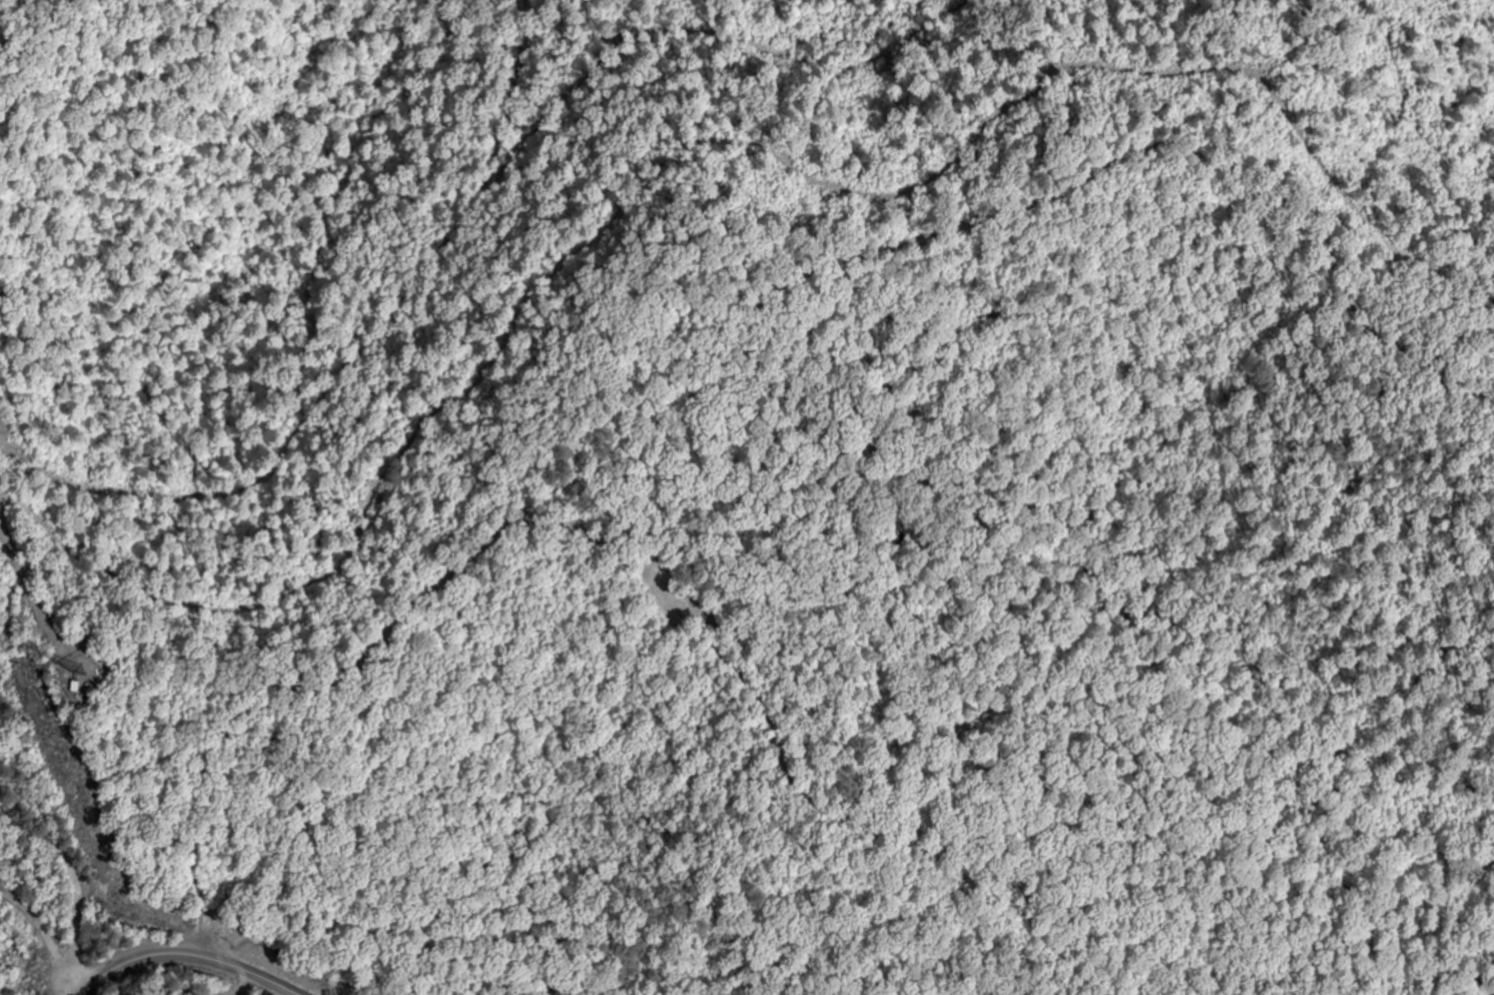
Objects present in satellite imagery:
road: (191, 955)
road: (139, 977)
road: (278, 989)

